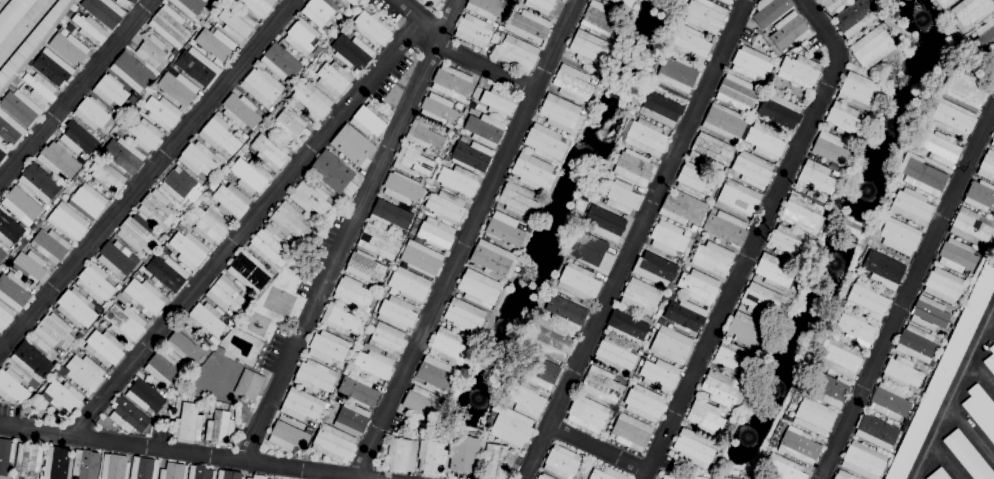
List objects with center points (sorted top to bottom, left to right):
building: (359, 0)
building: (133, 1)
building: (726, 1)
building: (431, 2)
building: (348, 3)
building: (622, 3)
building: (944, 3)
building: (365, 4)
building: (830, 4)
building: (540, 5)
building: (190, 6)
building: (256, 7)
building: (489, 8)
building: (371, 9)
building: (104, 11)
building: (320, 11)
building: (770, 11)
building: (972, 11)
building: (12, 15)
building: (705, 15)
building: (855, 17)
building: (602, 19)
building: (237, 23)
building: (530, 24)
building: (171, 26)
building: (373, 27)
road: (23, 28)
building: (90, 28)
building: (474, 30)
building: (758, 30)
building: (789, 30)
building: (325, 31)
building: (499, 31)
building: (764, 34)
building: (302, 37)
building: (500, 37)
building: (985, 37)
building: (32, 43)
building: (690, 44)
building: (872, 46)
building: (69, 47)
building: (221, 48)
building: (589, 48)
building: (152, 50)
building: (352, 51)
building: (517, 53)
road: (460, 54)
building: (322, 56)
building: (329, 58)
building: (280, 61)
building: (751, 63)
building: (197, 66)
building: (53, 67)
building: (801, 70)
building: (651, 71)
building: (132, 72)
building: (677, 74)
building: (774, 74)
building: (334, 78)
building: (288, 81)
building: (452, 83)
building: (572, 83)
building: (764, 83)
building: (262, 86)
building: (40, 87)
building: (178, 88)
building: (965, 88)
road: (75, 90)
building: (110, 90)
building: (150, 90)
building: (859, 91)
building: (736, 92)
building: (132, 99)
building: (311, 100)
building: (498, 101)
building: (281, 104)
building: (471, 104)
building: (458, 106)
building: (115, 107)
building: (21, 108)
building: (270, 109)
building: (438, 109)
building: (661, 109)
building: (465, 110)
building: (780, 110)
building: (241, 111)
building: (162, 112)
building: (92, 113)
building: (561, 113)
building: (951, 117)
building: (369, 120)
building: (845, 120)
building: (725, 122)
building: (289, 124)
building: (10, 129)
building: (485, 129)
building: (455, 130)
building: (251, 133)
building: (144, 134)
building: (219, 135)
building: (423, 135)
building: (993, 136)
building: (374, 137)
building: (645, 137)
building: (78, 139)
building: (766, 140)
building: (546, 142)
building: (993, 143)
building: (353, 145)
building: (830, 148)
building: (242, 149)
building: (940, 149)
building: (271, 151)
building: (710, 151)
building: (3, 152)
building: (123, 155)
building: (471, 155)
building: (227, 157)
building: (199, 159)
building: (58, 160)
building: (412, 161)
building: (448, 162)
building: (633, 166)
building: (987, 166)
building: (753, 169)
building: (726, 170)
building: (533, 172)
building: (334, 173)
building: (836, 173)
building: (250, 175)
building: (922, 175)
building: (108, 176)
road: (147, 176)
building: (816, 178)
building: (81, 180)
building: (695, 180)
building: (458, 181)
building: (40, 182)
building: (64, 184)
building: (178, 184)
building: (430, 187)
building: (403, 188)
building: (980, 195)
building: (622, 196)
building: (310, 197)
building: (598, 197)
building: (738, 198)
building: (56, 200)
building: (519, 200)
building: (198, 201)
building: (231, 201)
building: (88, 202)
building: (21, 204)
building: (49, 204)
building: (446, 206)
building: (911, 206)
building: (406, 207)
building: (683, 207)
building: (157, 208)
building: (714, 210)
building: (803, 214)
building: (313, 215)
building: (420, 215)
building: (390, 216)
building: (289, 221)
building: (68, 222)
building: (605, 223)
building: (209, 224)
building: (9, 226)
road: (247, 227)
building: (972, 227)
building: (181, 228)
building: (726, 228)
building: (505, 229)
road: (349, 230)
building: (412, 233)
building: (436, 233)
building: (138, 234)
building: (401, 236)
building: (900, 236)
building: (698, 237)
road: (756, 237)
road: (466, 238)
building: (668, 238)
road: (635, 239)
building: (419, 240)
building: (378, 241)
building: (788, 242)
building: (51, 245)
building: (270, 248)
building: (189, 249)
building: (158, 251)
building: (592, 252)
building: (141, 253)
building: (3, 255)
building: (957, 255)
building: (146, 256)
building: (116, 258)
building: (421, 258)
building: (684, 258)
building: (713, 258)
building: (495, 260)
building: (31, 266)
building: (364, 266)
building: (655, 269)
building: (883, 270)
building: (250, 271)
building: (776, 271)
building: (167, 272)
building: (971, 275)
building: (969, 280)
building: (579, 282)
building: (95, 283)
building: (410, 284)
building: (381, 285)
building: (944, 285)
building: (118, 286)
building: (670, 286)
building: (699, 286)
building: (14, 288)
building: (385, 288)
building: (480, 288)
building: (226, 294)
building: (353, 294)
building: (383, 294)
road: (908, 295)
building: (640, 296)
building: (671, 296)
building: (145, 297)
building: (115, 299)
building: (761, 300)
building: (867, 300)
park: (279, 301)
building: (105, 305)
building: (76, 308)
building: (783, 309)
building: (396, 312)
building: (566, 312)
building: (659, 312)
building: (930, 313)
building: (5, 314)
building: (686, 314)
building: (231, 315)
building: (465, 316)
building: (655, 316)
building: (340, 318)
building: (206, 319)
road: (991, 321)
building: (125, 322)
building: (96, 323)
building: (657, 325)
building: (263, 326)
building: (627, 327)
building: (856, 328)
building: (747, 330)
building: (54, 331)
building: (837, 333)
building: (945, 334)
building: (208, 336)
building: (358, 338)
building: (387, 338)
building: (549, 339)
building: (185, 344)
building: (917, 344)
building: (451, 345)
building: (671, 345)
building: (360, 346)
building: (104, 347)
building: (328, 347)
building: (220, 351)
building: (614, 354)
building: (644, 355)
building: (841, 358)
building: (31, 359)
building: (67, 359)
building: (733, 359)
building: (990, 360)
building: (374, 364)
building: (194, 368)
building: (540, 368)
building: (164, 369)
building: (85, 372)
building: (902, 372)
building: (943, 374)
building: (437, 375)
building: (660, 375)
building: (314, 376)
building: (635, 378)
road: (981, 378)
building: (249, 384)
building: (602, 385)
building: (12, 386)
building: (358, 389)
building: (723, 389)
building: (831, 389)
road: (954, 393)
building: (63, 396)
building: (145, 396)
building: (330, 396)
building: (526, 399)
building: (327, 400)
building: (890, 402)
building: (212, 403)
building: (645, 403)
building: (424, 404)
building: (302, 405)
building: (327, 405)
building: (620, 408)
building: (981, 410)
building: (724, 413)
building: (588, 414)
building: (129, 416)
building: (815, 416)
building: (706, 417)
building: (352, 418)
building: (905, 421)
building: (188, 423)
building: (418, 423)
building: (511, 426)
building: (220, 428)
building: (877, 431)
building: (418, 432)
building: (632, 432)
road: (971, 434)
building: (288, 436)
building: (334, 442)
road: (121, 443)
building: (799, 445)
building: (695, 447)
road: (598, 448)
building: (465, 453)
building: (401, 454)
building: (6, 456)
building: (968, 456)
building: (29, 457)
building: (433, 458)
building: (864, 460)
building: (764, 461)
building: (497, 462)
building: (562, 462)
road: (945, 462)
building: (58, 463)
building: (85, 464)
building: (115, 466)
building: (144, 468)
road: (302, 469)
building: (782, 469)
building: (174, 471)
building: (200, 472)
building: (607, 473)
building: (229, 474)
building: (939, 474)
building: (844, 475)
building: (544, 476)
building: (669, 476)
building: (258, 477)
building: (697, 478)
building: (723, 478)

